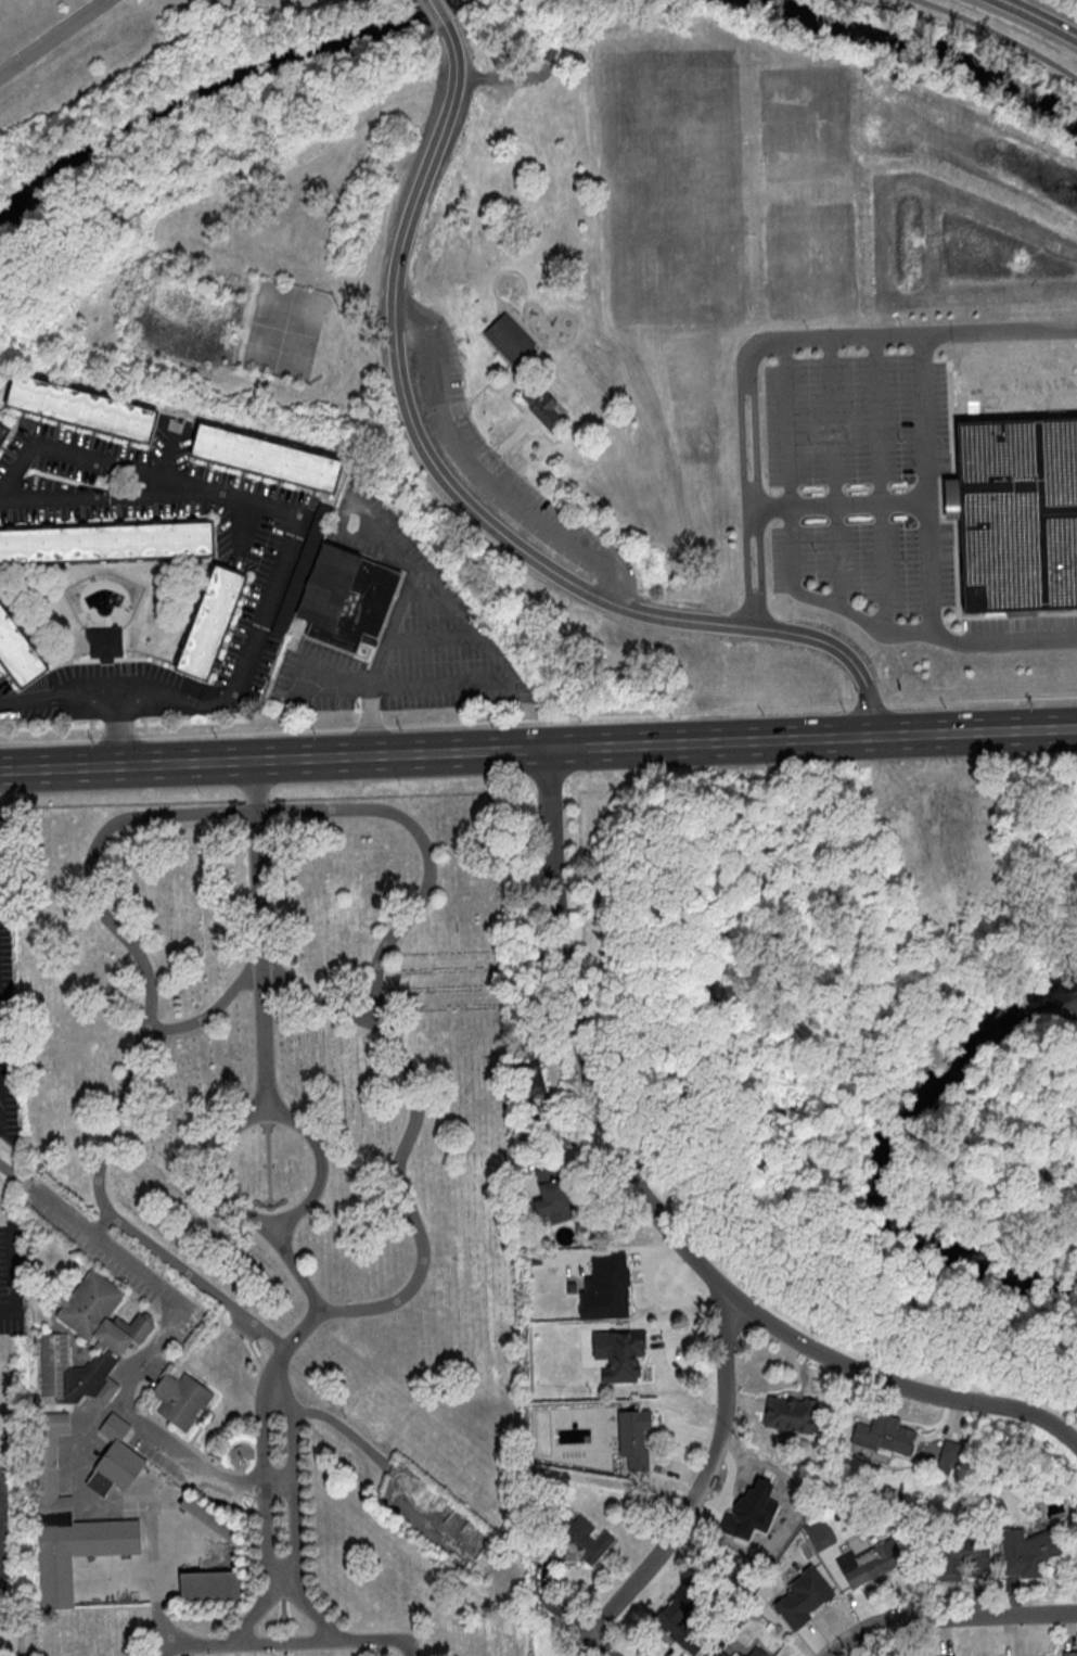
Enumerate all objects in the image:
park: (429, 10)
road: (437, 12)
road: (1035, 18)
road: (51, 35)
road: (997, 37)
park: (952, 44)
river: (912, 49)
building: (550, 53)
road: (502, 77)
river: (203, 85)
park: (137, 87)
park: (672, 171)
park: (804, 257)
park: (286, 328)
road: (999, 331)
road: (829, 335)
building: (508, 337)
park: (629, 340)
building: (80, 407)
building: (543, 408)
building: (1, 426)
building: (266, 457)
parking lot: (498, 457)
road: (832, 469)
road: (479, 473)
parking lot: (846, 474)
road: (927, 480)
road: (877, 482)
road: (745, 493)
road: (758, 493)
road: (463, 504)
road: (836, 504)
road: (284, 511)
building: (1016, 515)
building: (106, 540)
road: (790, 540)
building: (345, 597)
building: (210, 622)
road: (395, 624)
parking lot: (1020, 633)
road: (436, 636)
road: (1002, 641)
building: (105, 646)
building: (16, 652)
road: (443, 681)
road: (57, 698)
road: (120, 731)
road: (973, 733)
road: (796, 739)
road: (634, 746)
road: (272, 760)
road: (239, 813)
road: (258, 937)
park: (839, 991)
road: (313, 998)
road: (211, 1010)
building: (531, 1075)
park: (1018, 1157)
river: (886, 1158)
road: (8, 1171)
building: (25, 1181)
building: (552, 1203)
road: (231, 1206)
road: (656, 1220)
road: (101, 1225)
park: (271, 1227)
building: (562, 1266)
parking lot: (11, 1276)
building: (613, 1284)
road: (309, 1294)
road: (654, 1297)
building: (120, 1337)
road: (149, 1352)
building: (623, 1354)
building: (181, 1399)
building: (790, 1413)
road: (329, 1418)
building: (634, 1438)
building: (884, 1438)
building: (950, 1451)
building: (115, 1458)
road: (704, 1476)
road: (264, 1508)
road: (292, 1508)
building: (748, 1515)
building: (209, 1518)
building: (67, 1521)
road: (0, 1531)
parking lot: (8, 1534)
building: (821, 1537)
building: (586, 1539)
road: (1, 1543)
building: (1027, 1551)
building: (962, 1558)
building: (864, 1565)
road: (281, 1576)
building: (210, 1587)
road: (542, 1597)
building: (802, 1597)
road: (946, 1617)
building: (675, 1619)
road: (156, 1628)
road: (21, 1640)
road: (285, 1643)
road: (599, 1645)
building: (754, 1652)
building: (722, 1653)
building: (1068, 1653)
building: (953, 1655)

